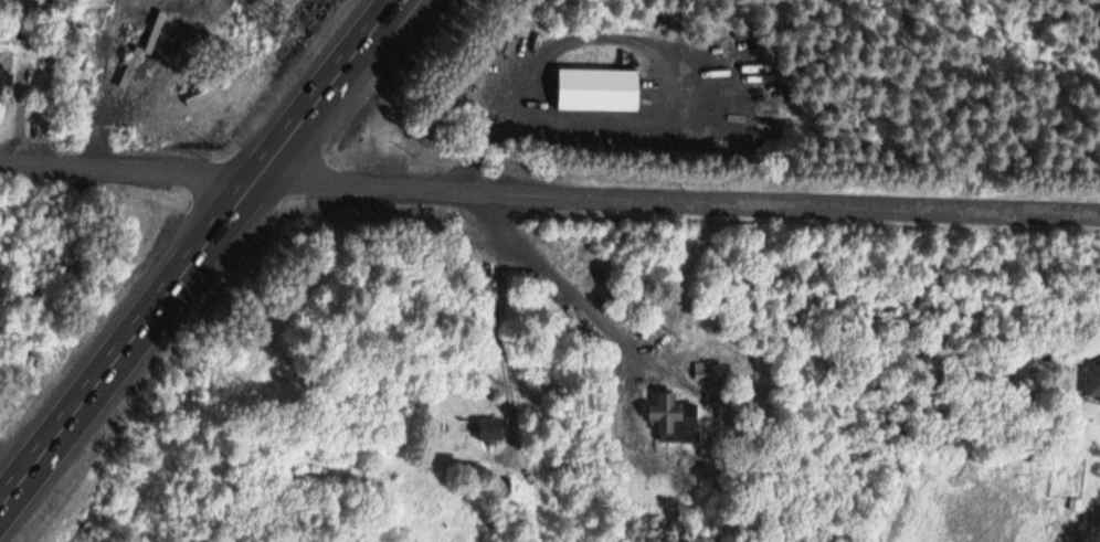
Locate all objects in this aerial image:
building: (1, 79)
building: (597, 87)
road: (133, 168)
road: (681, 194)
road: (201, 255)
road: (550, 272)
road: (503, 328)
building: (1092, 380)
building: (674, 417)
building: (490, 428)
road: (14, 460)

